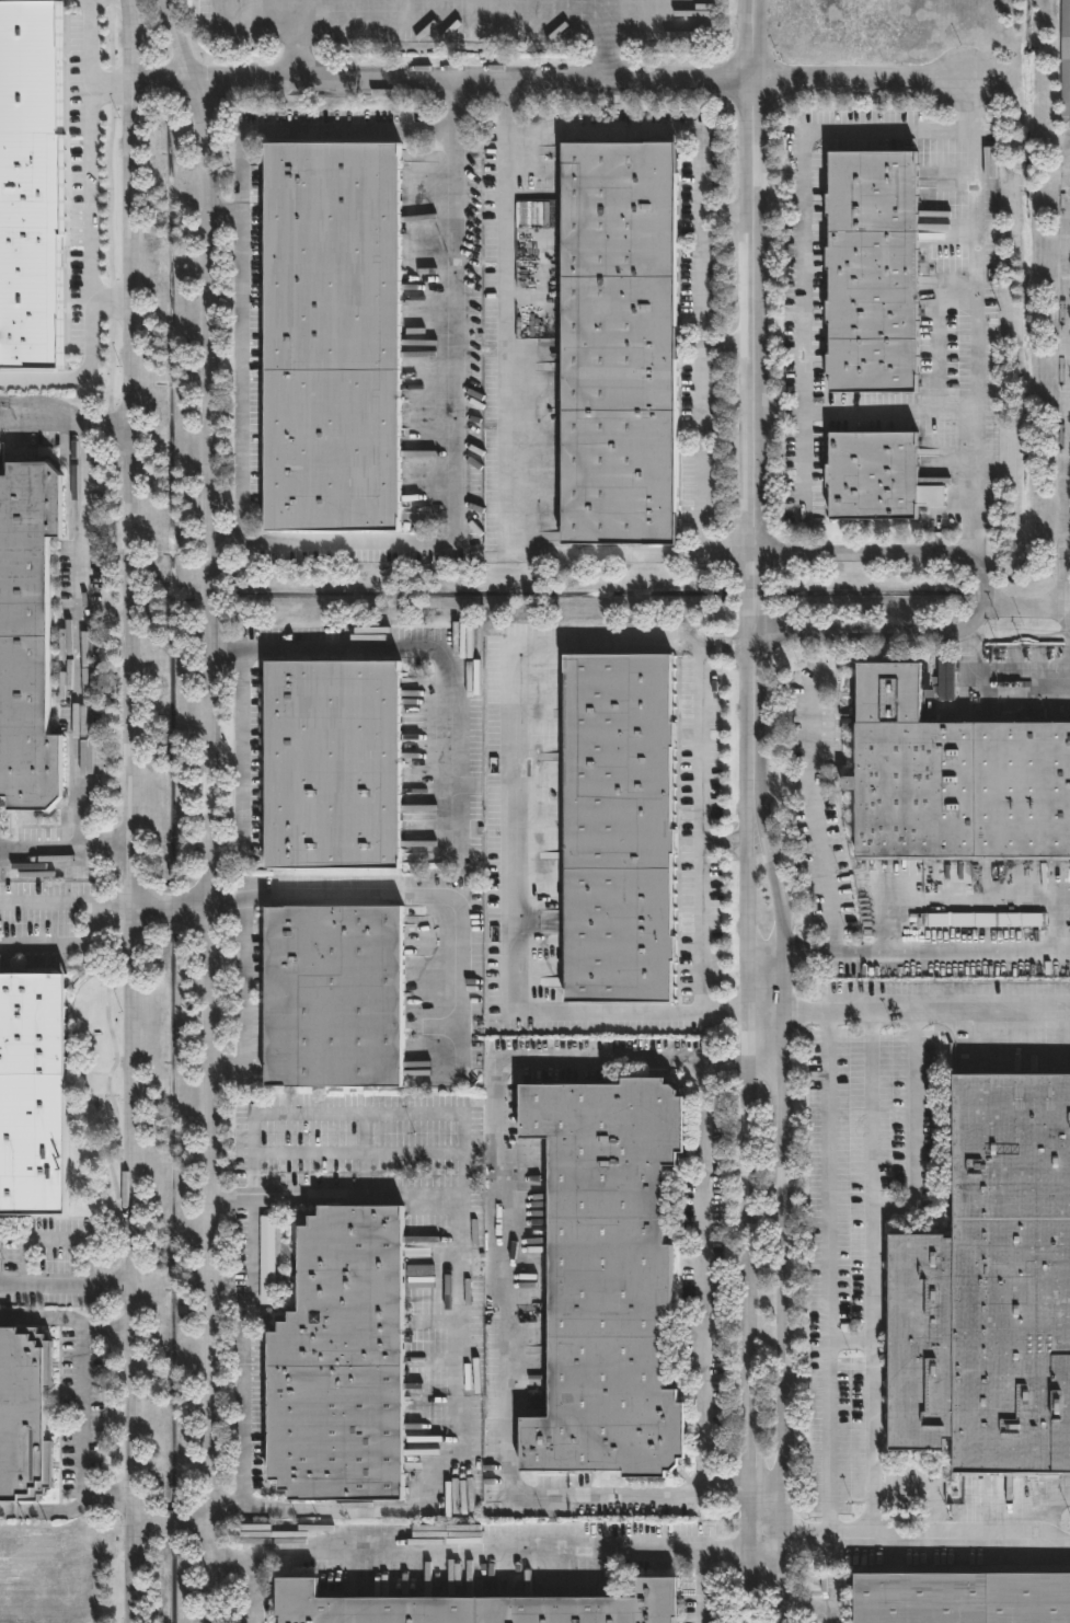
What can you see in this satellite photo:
road: (447, 5)
building: (1065, 65)
road: (115, 87)
road: (554, 87)
road: (973, 107)
road: (92, 151)
road: (975, 153)
road: (725, 206)
road: (228, 207)
road: (699, 244)
building: (874, 273)
road: (803, 335)
building: (330, 339)
building: (618, 343)
road: (725, 345)
road: (89, 359)
road: (751, 405)
road: (933, 411)
road: (45, 413)
road: (503, 440)
road: (1066, 471)
building: (872, 479)
road: (229, 537)
road: (265, 540)
road: (991, 591)
road: (1028, 603)
road: (1066, 605)
road: (79, 613)
building: (25, 640)
road: (428, 648)
road: (1009, 679)
road: (812, 734)
road: (241, 762)
building: (331, 768)
building: (954, 781)
road: (216, 808)
road: (131, 810)
road: (702, 824)
building: (617, 830)
road: (724, 842)
road: (509, 843)
road: (65, 852)
parking lot: (31, 895)
road: (379, 900)
road: (45, 903)
road: (111, 903)
road: (780, 910)
road: (67, 945)
road: (840, 948)
building: (331, 999)
road: (245, 1000)
road: (925, 1009)
road: (785, 1083)
building: (31, 1096)
road: (357, 1114)
road: (747, 1217)
road: (829, 1271)
road: (873, 1271)
road: (702, 1278)
building: (605, 1279)
road: (66, 1282)
building: (990, 1290)
road: (502, 1296)
road: (67, 1319)
road: (790, 1343)
road: (456, 1345)
building: (338, 1363)
road: (242, 1392)
road: (85, 1411)
building: (22, 1415)
road: (68, 1507)
road: (931, 1531)
road: (504, 1552)
road: (790, 1577)
road: (828, 1577)
road: (700, 1586)
road: (250, 1589)
building: (962, 1599)
building: (474, 1608)

